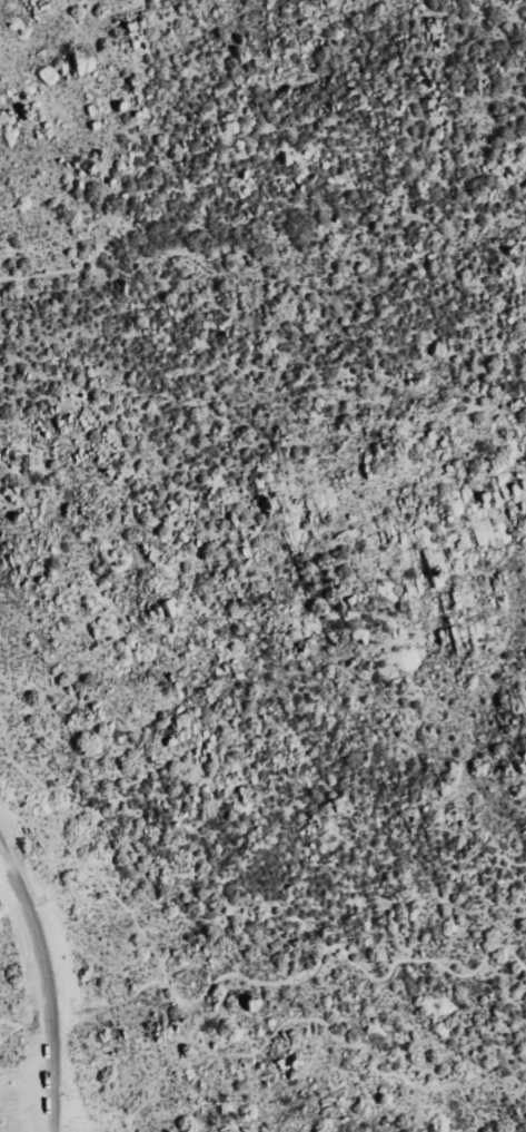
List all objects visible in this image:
road: (34, 926)
road: (291, 981)
road: (162, 1060)
road: (53, 1072)

